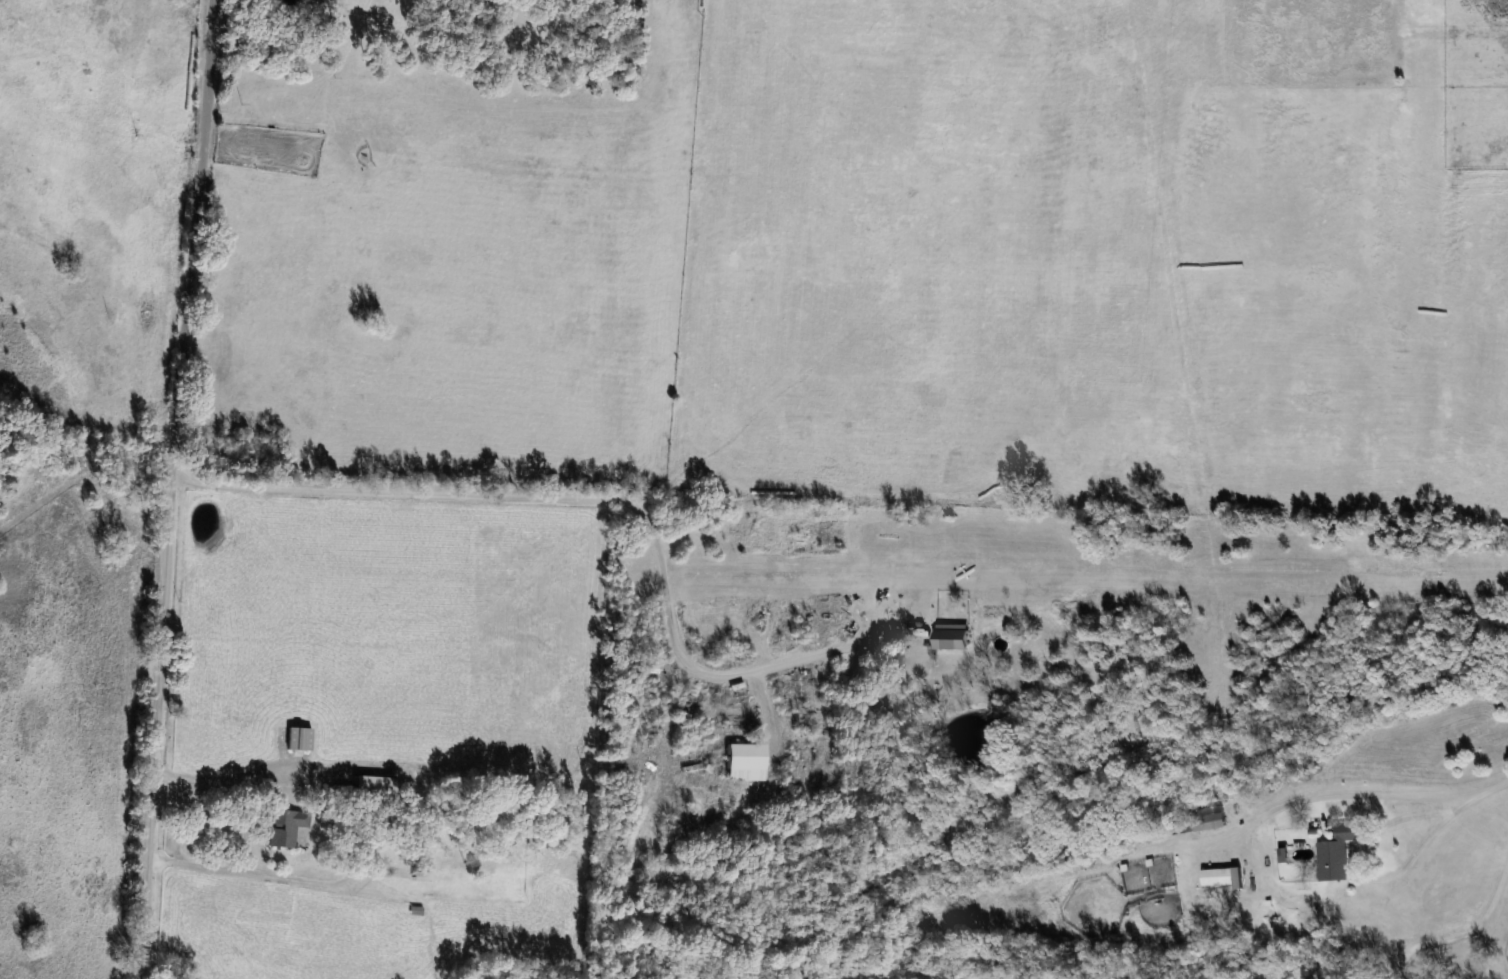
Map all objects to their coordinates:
road: (173, 489)
road: (611, 498)
building: (953, 635)
building: (294, 738)
building: (746, 761)
road: (278, 763)
building: (374, 789)
road: (1377, 793)
building: (1198, 822)
road: (245, 825)
building: (286, 826)
building: (1337, 852)
road: (266, 874)
building: (1222, 876)
building: (518, 885)
road: (1464, 938)

